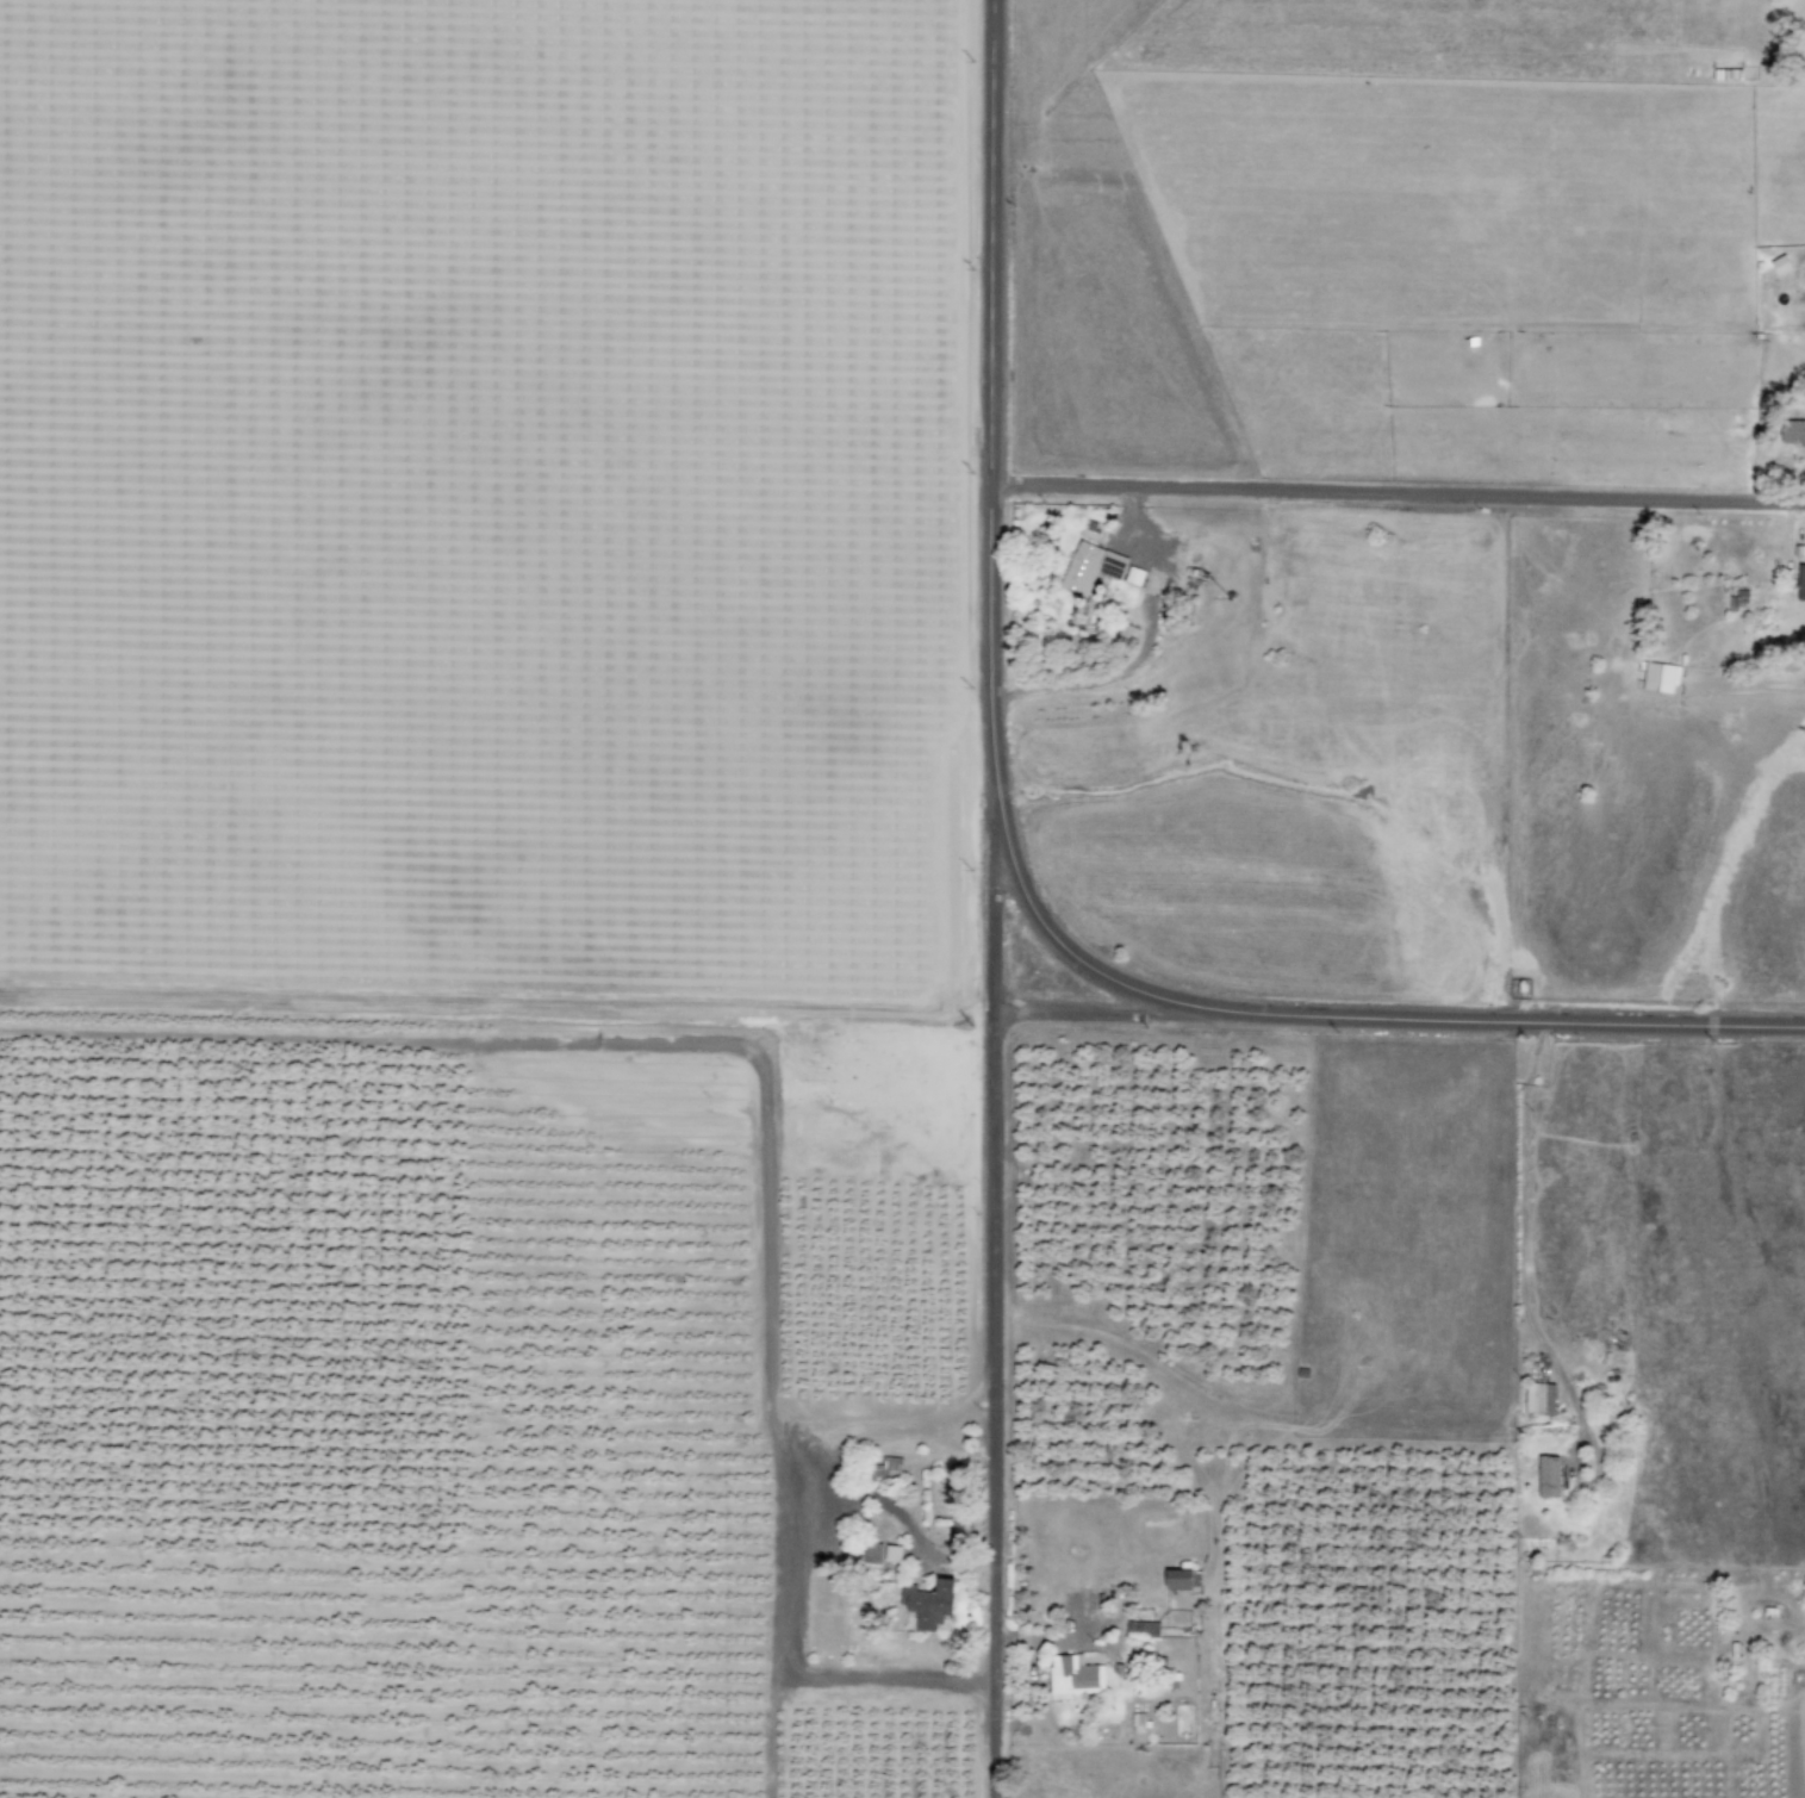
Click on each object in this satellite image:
wastewater plant: (1106, 348)
building: (1793, 433)
road: (1395, 493)
road: (986, 554)
building: (1090, 567)
building: (1133, 576)
building: (1800, 583)
building: (1660, 678)
road: (1090, 1014)
road: (1498, 1021)
road: (994, 1292)
building: (1538, 1398)
building: (890, 1467)
building: (1548, 1476)
building: (892, 1554)
building: (1178, 1579)
building: (928, 1604)
building: (1140, 1630)
building: (1072, 1676)

